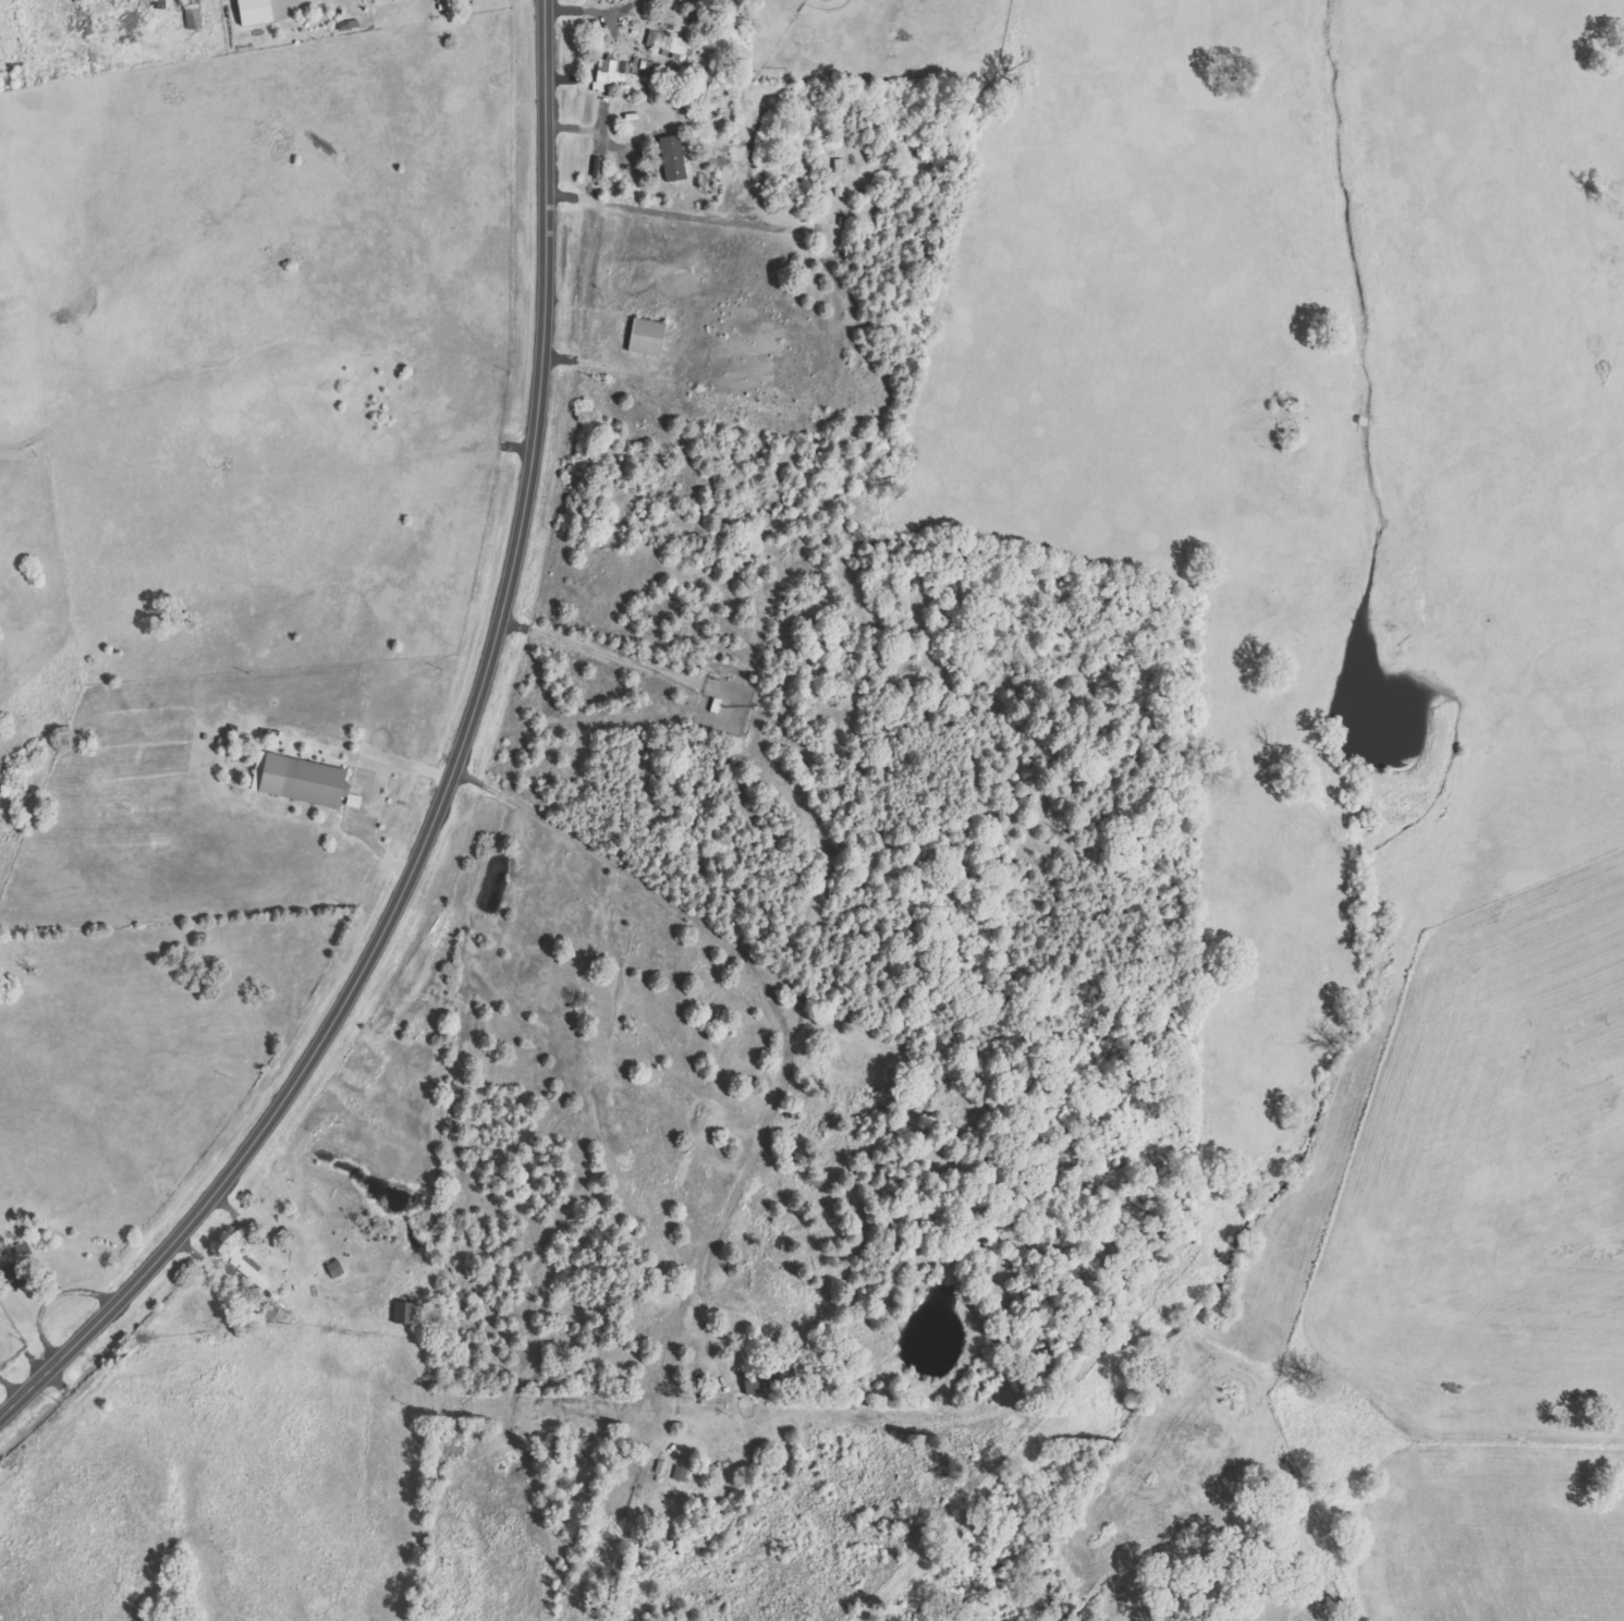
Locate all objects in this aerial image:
building: (88, 0)
building: (442, 0)
building: (254, 12)
building: (620, 71)
building: (671, 158)
building: (839, 178)
building: (646, 337)
road: (452, 779)
building: (301, 780)
road: (365, 792)
building: (246, 1269)
building: (334, 1269)
building: (403, 1313)
building: (768, 1380)
building: (660, 1467)

